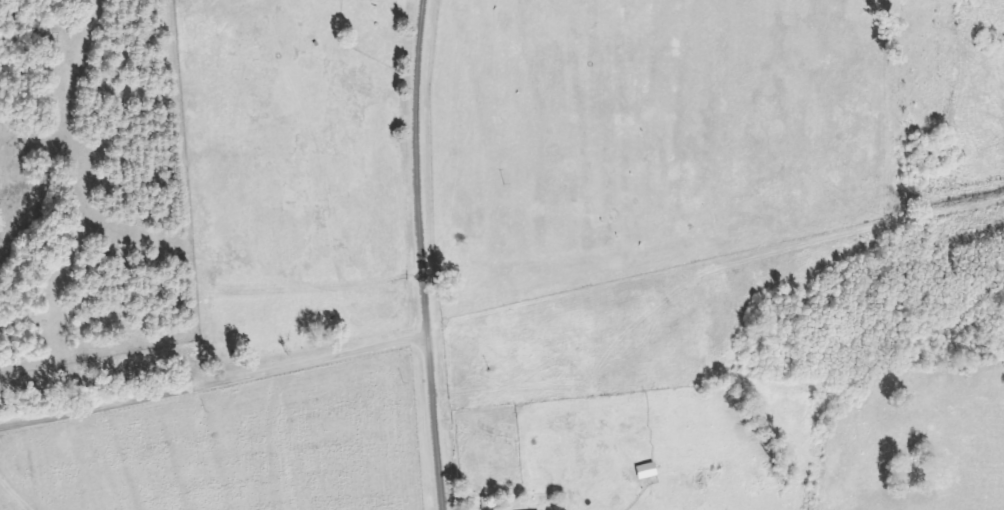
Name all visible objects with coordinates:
road: (423, 255)
road: (238, 375)
building: (485, 504)

